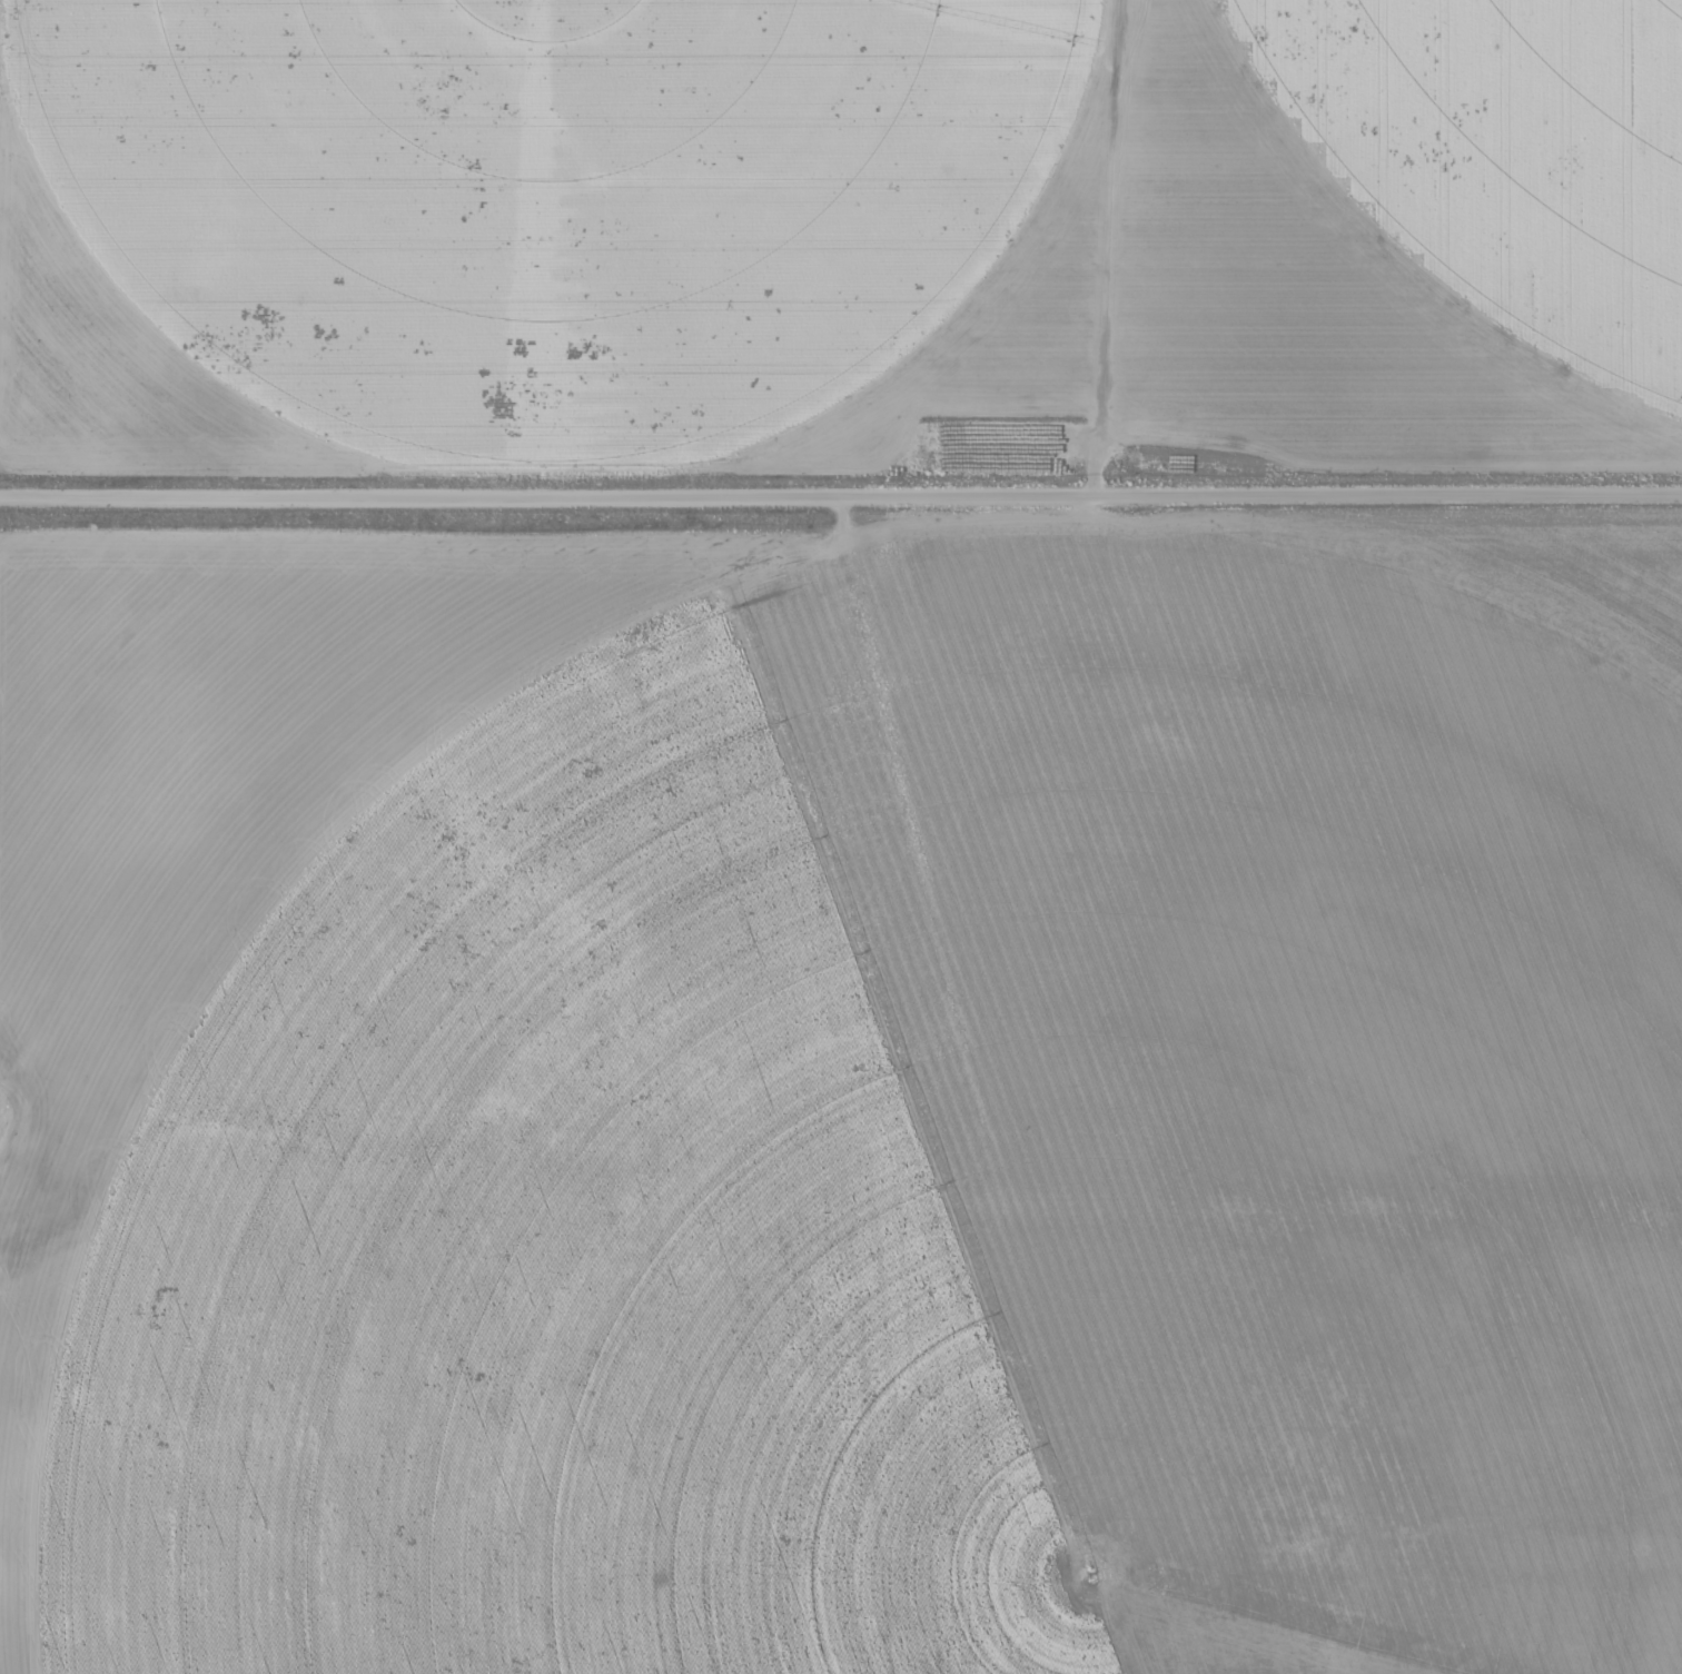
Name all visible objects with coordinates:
road: (841, 499)

